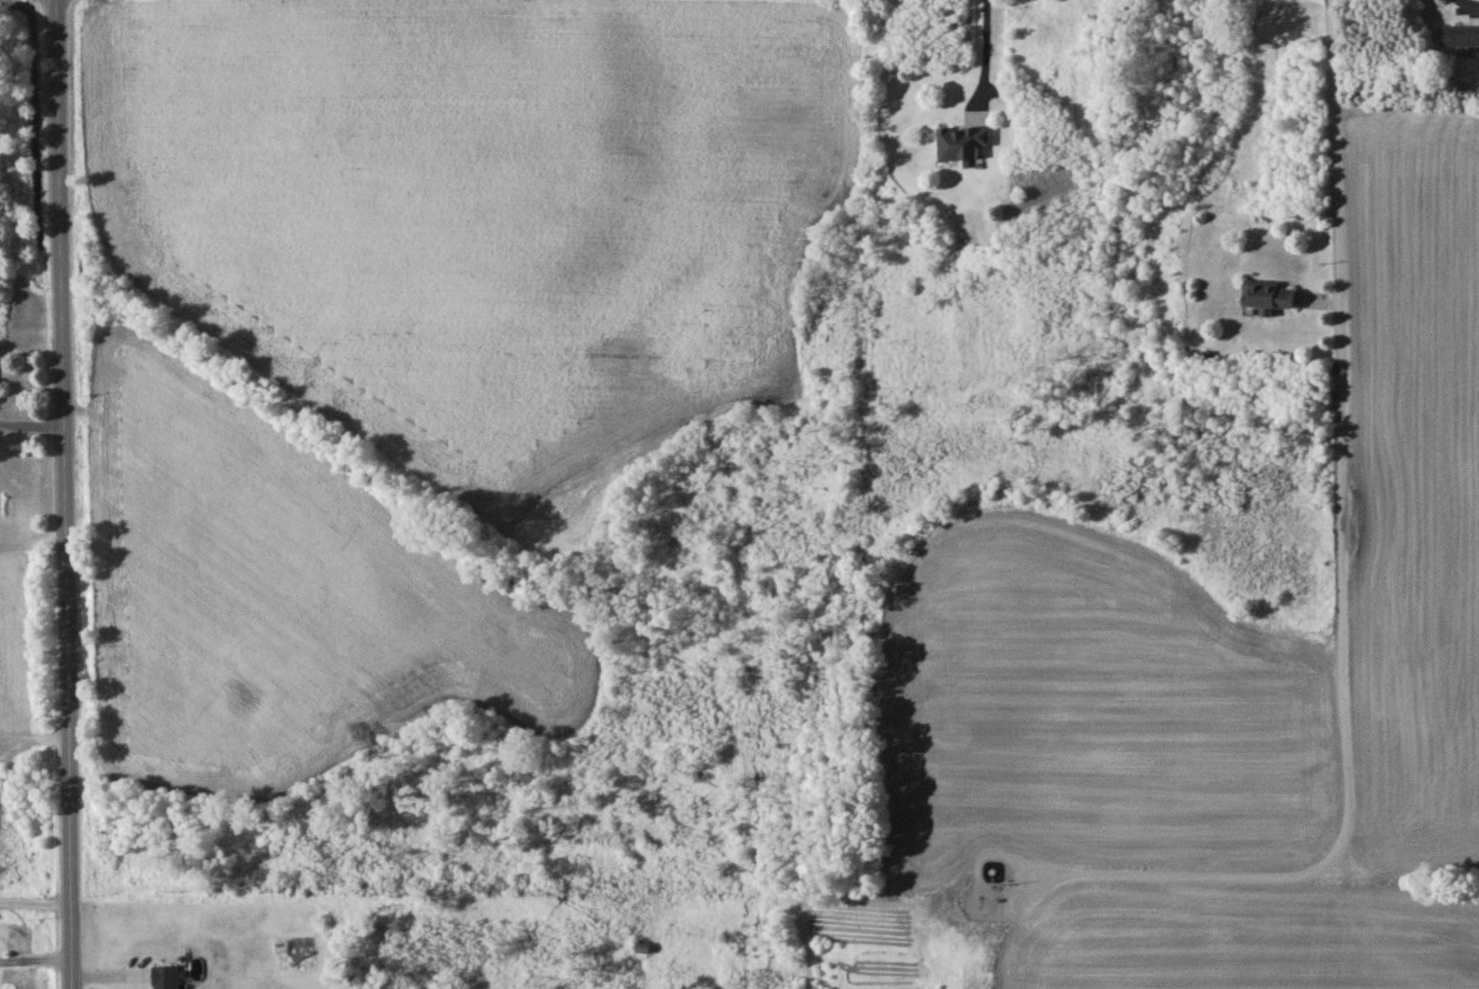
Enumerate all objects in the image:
building: (1460, 40)
road: (988, 50)
building: (963, 146)
road: (31, 428)
road: (64, 494)
road: (32, 547)
road: (1319, 552)
road: (34, 737)
road: (6, 742)
road: (36, 900)
building: (644, 951)
road: (37, 962)
building: (169, 979)

